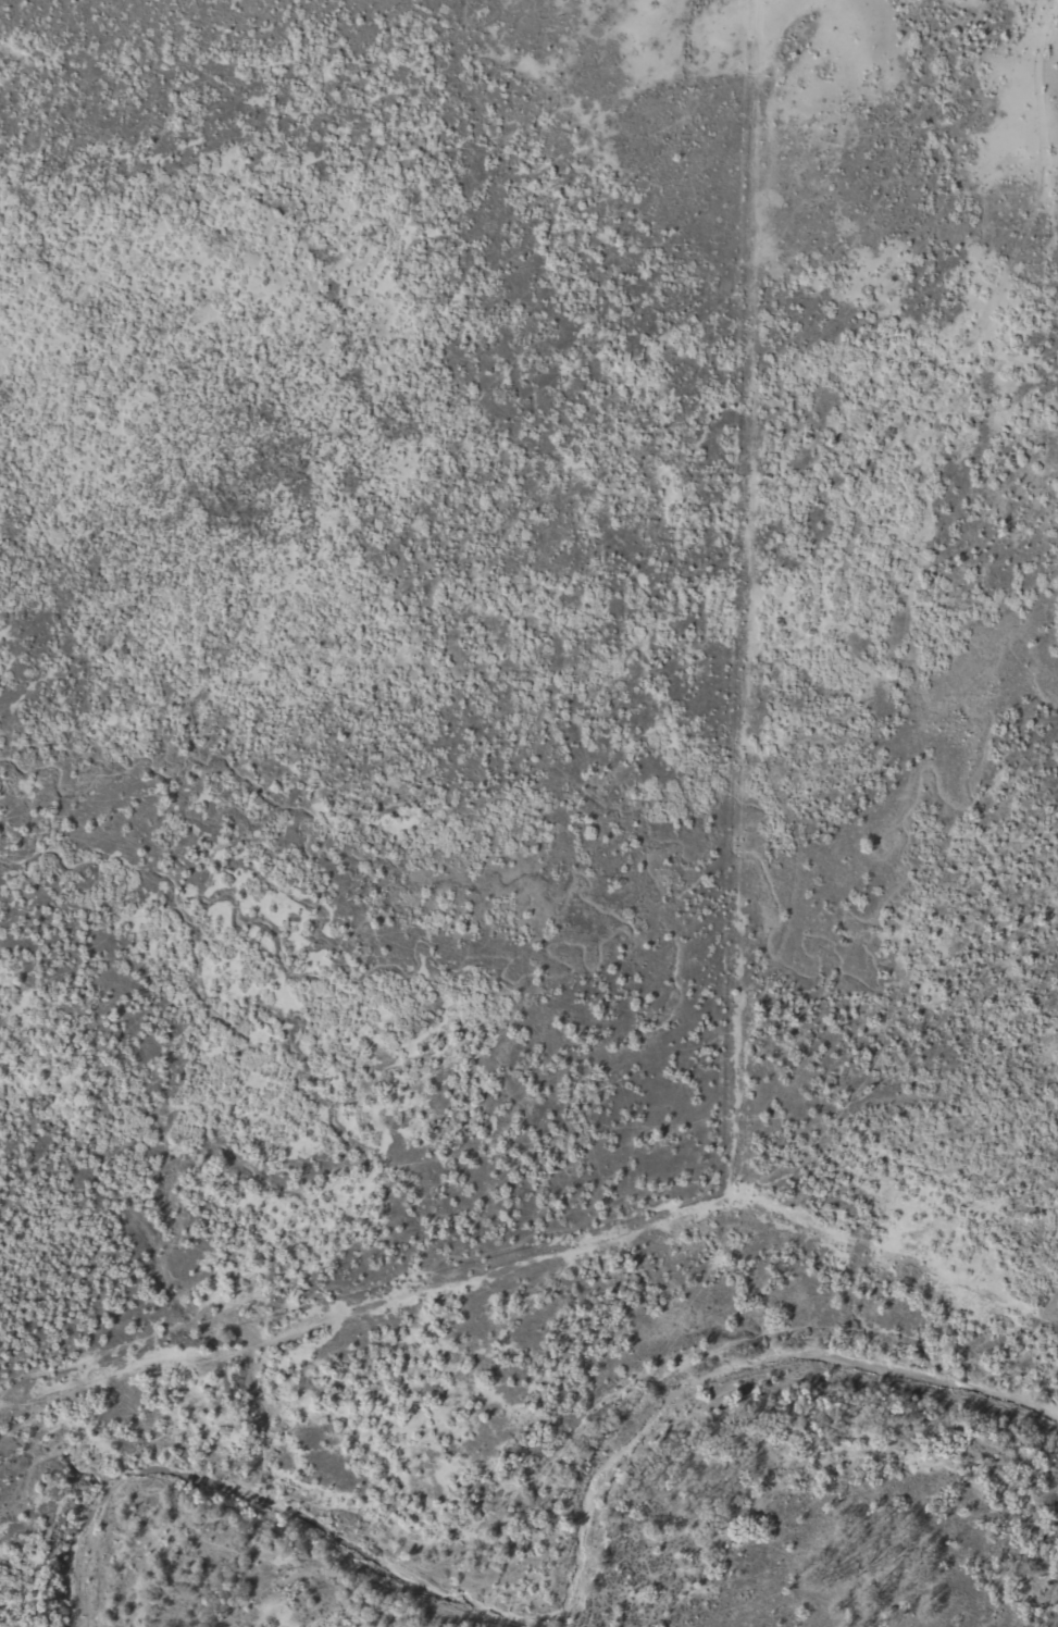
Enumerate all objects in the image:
road: (738, 690)
river: (568, 1579)

